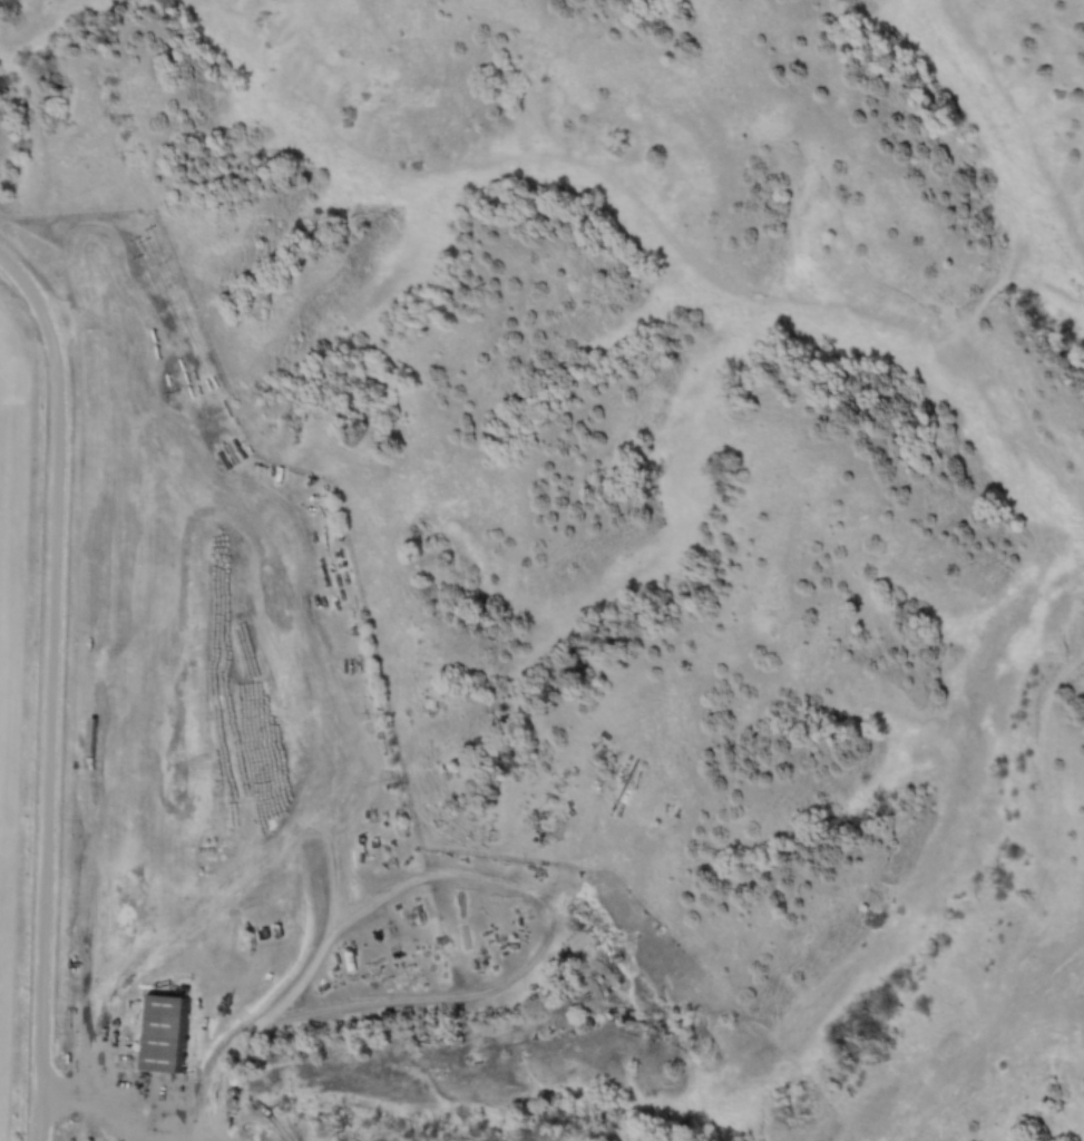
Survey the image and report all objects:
building: (82, 657)
road: (56, 687)
building: (164, 1034)
road: (128, 1113)

